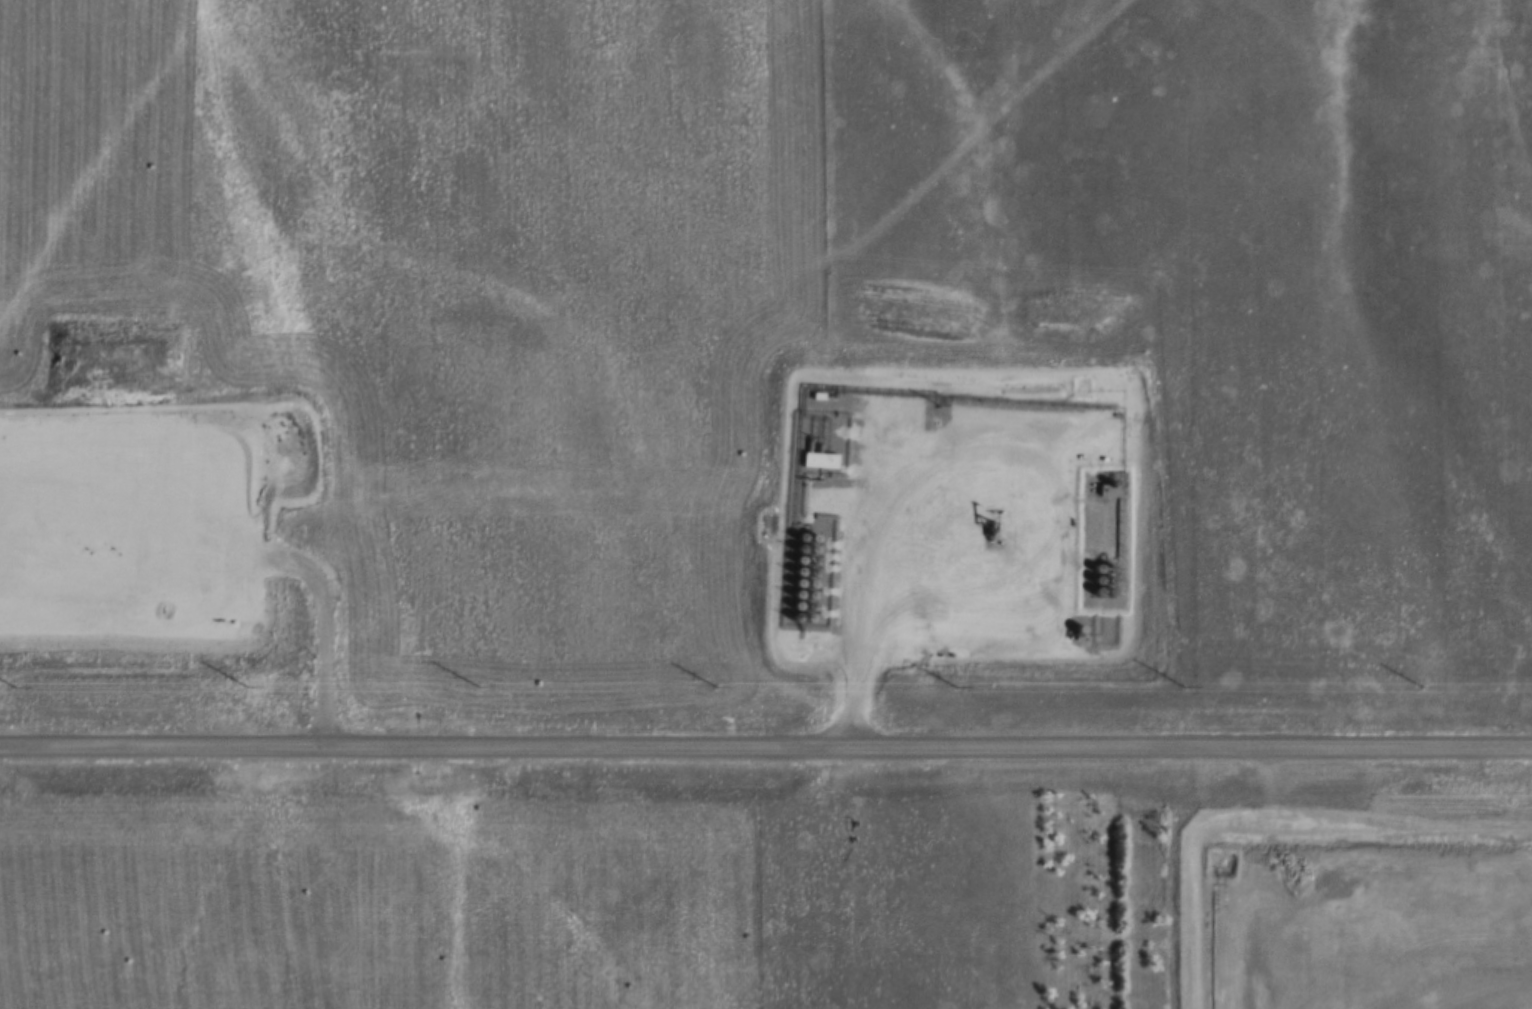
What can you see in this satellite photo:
road: (246, 549)
road: (766, 751)

